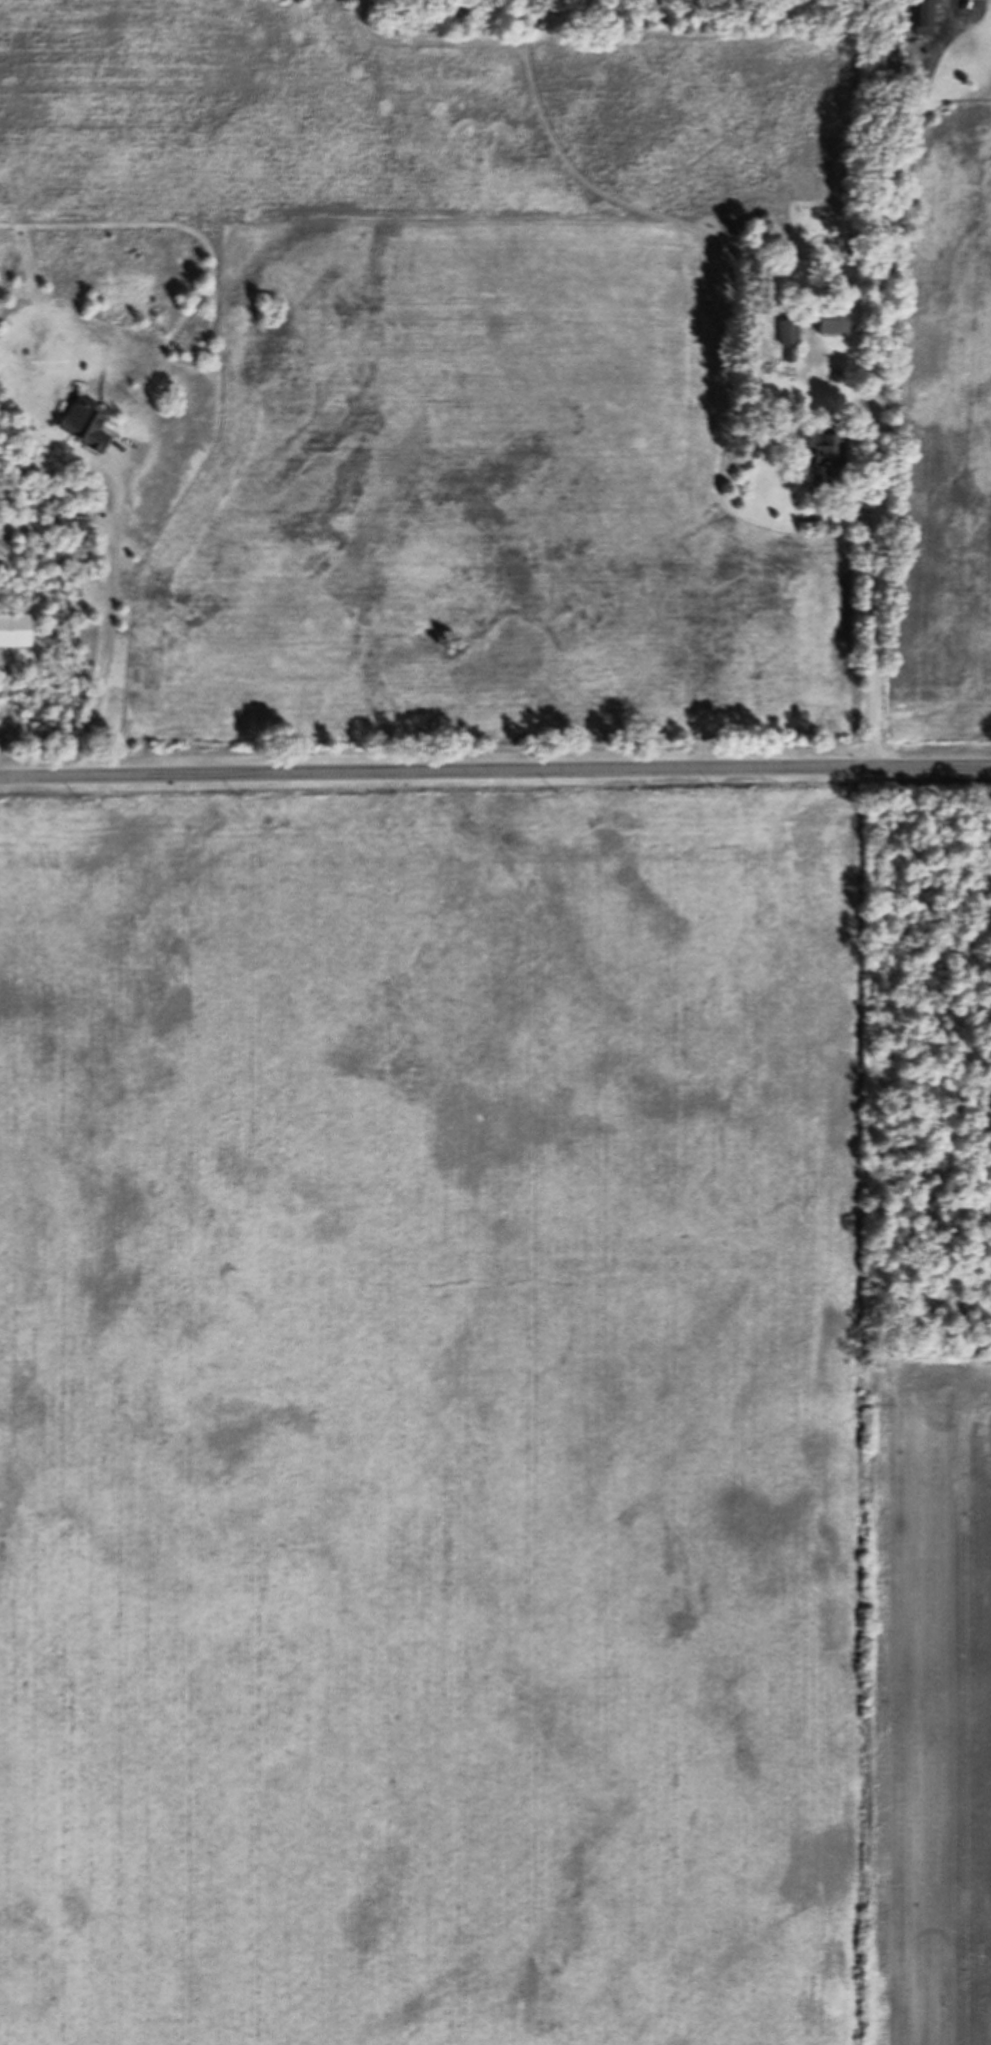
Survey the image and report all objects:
building: (977, 1)
building: (830, 329)
building: (784, 340)
building: (81, 431)
building: (824, 467)
road: (100, 627)
building: (13, 639)
road: (495, 780)
crop: (467, 1443)

